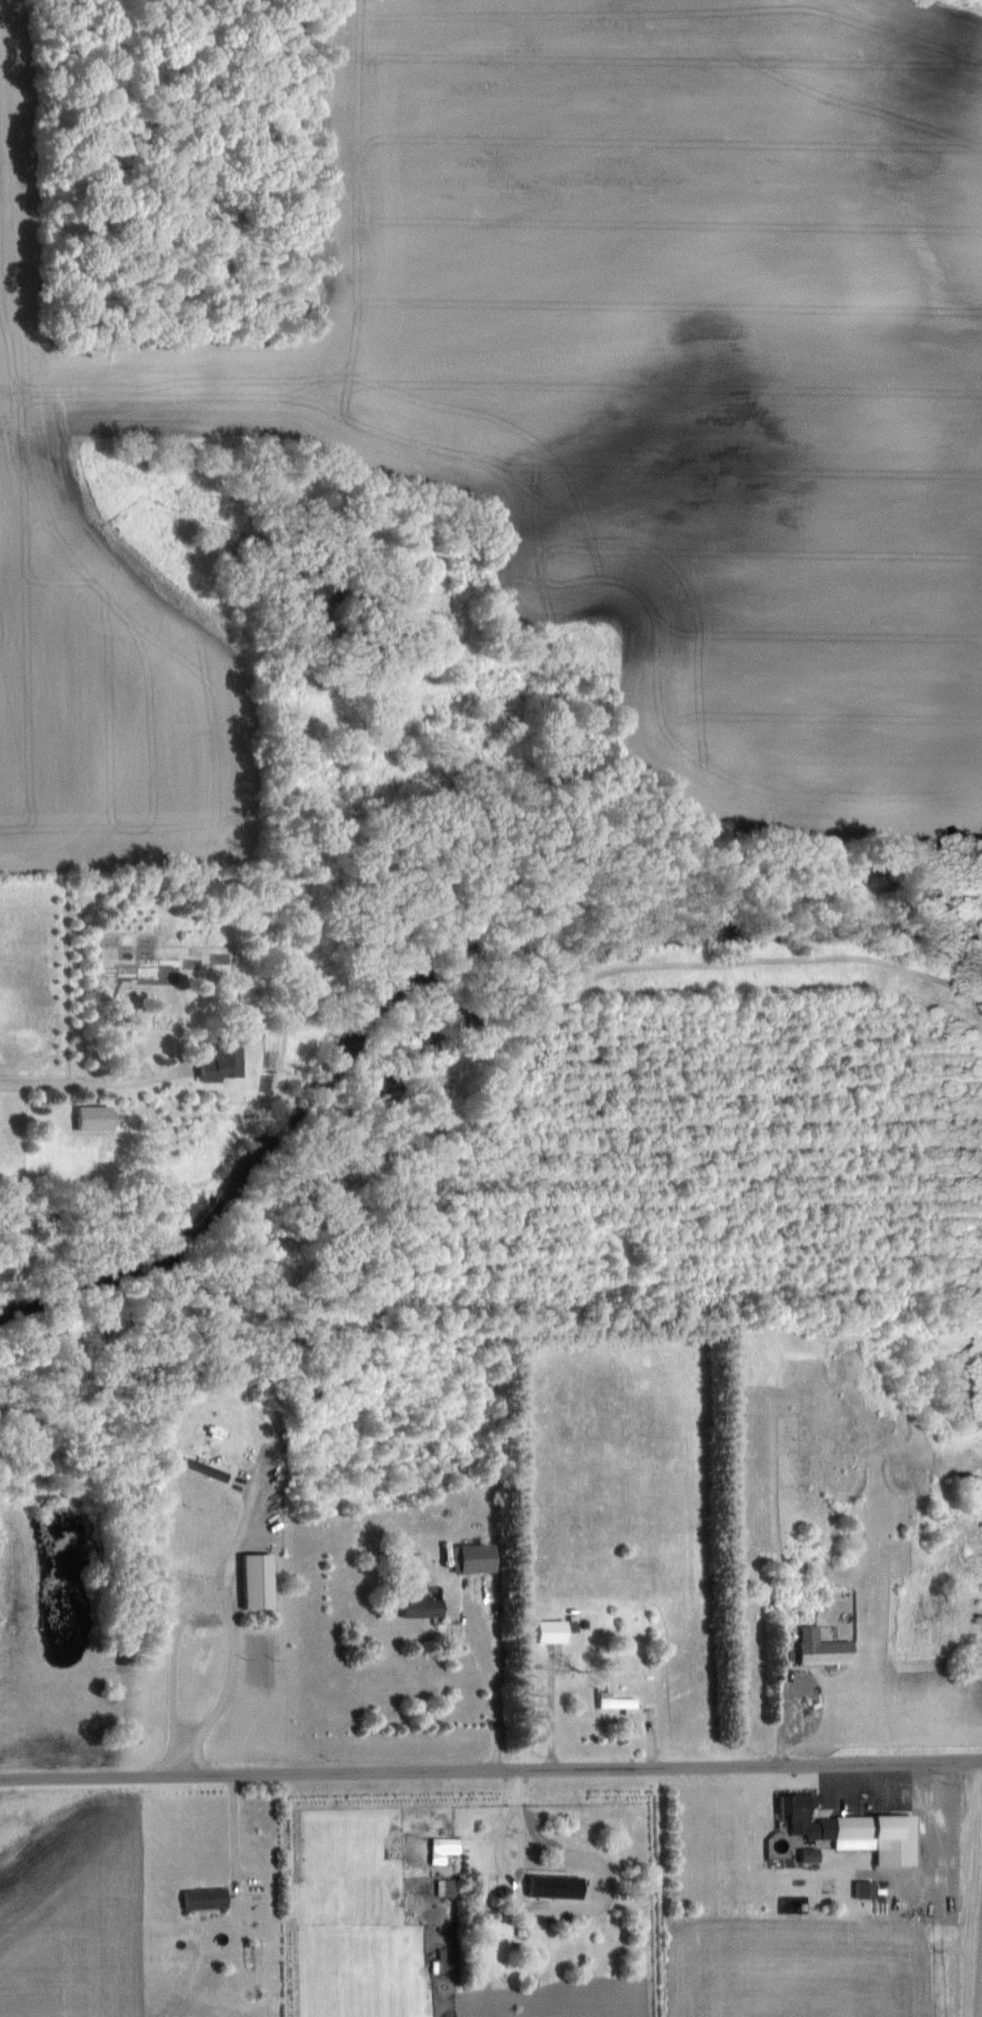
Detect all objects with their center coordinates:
building: (220, 1060)
road: (92, 1083)
building: (93, 1117)
building: (474, 1557)
building: (250, 1580)
building: (420, 1607)
road: (231, 1626)
building: (551, 1630)
building: (821, 1647)
road: (495, 1693)
building: (617, 1702)
road: (783, 1707)
road: (552, 1713)
road: (490, 1768)
road: (234, 1827)
building: (854, 1828)
building: (557, 1888)
road: (963, 1889)
building: (204, 1896)

